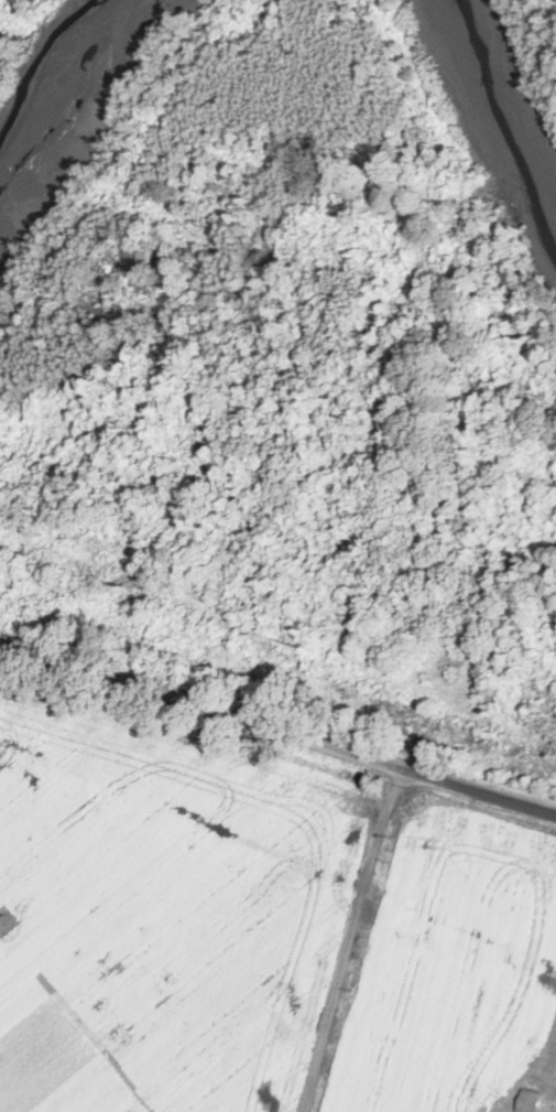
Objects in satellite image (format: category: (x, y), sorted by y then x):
river: (63, 106)
river: (504, 117)
road: (277, 731)
road: (364, 941)
building: (528, 1100)

